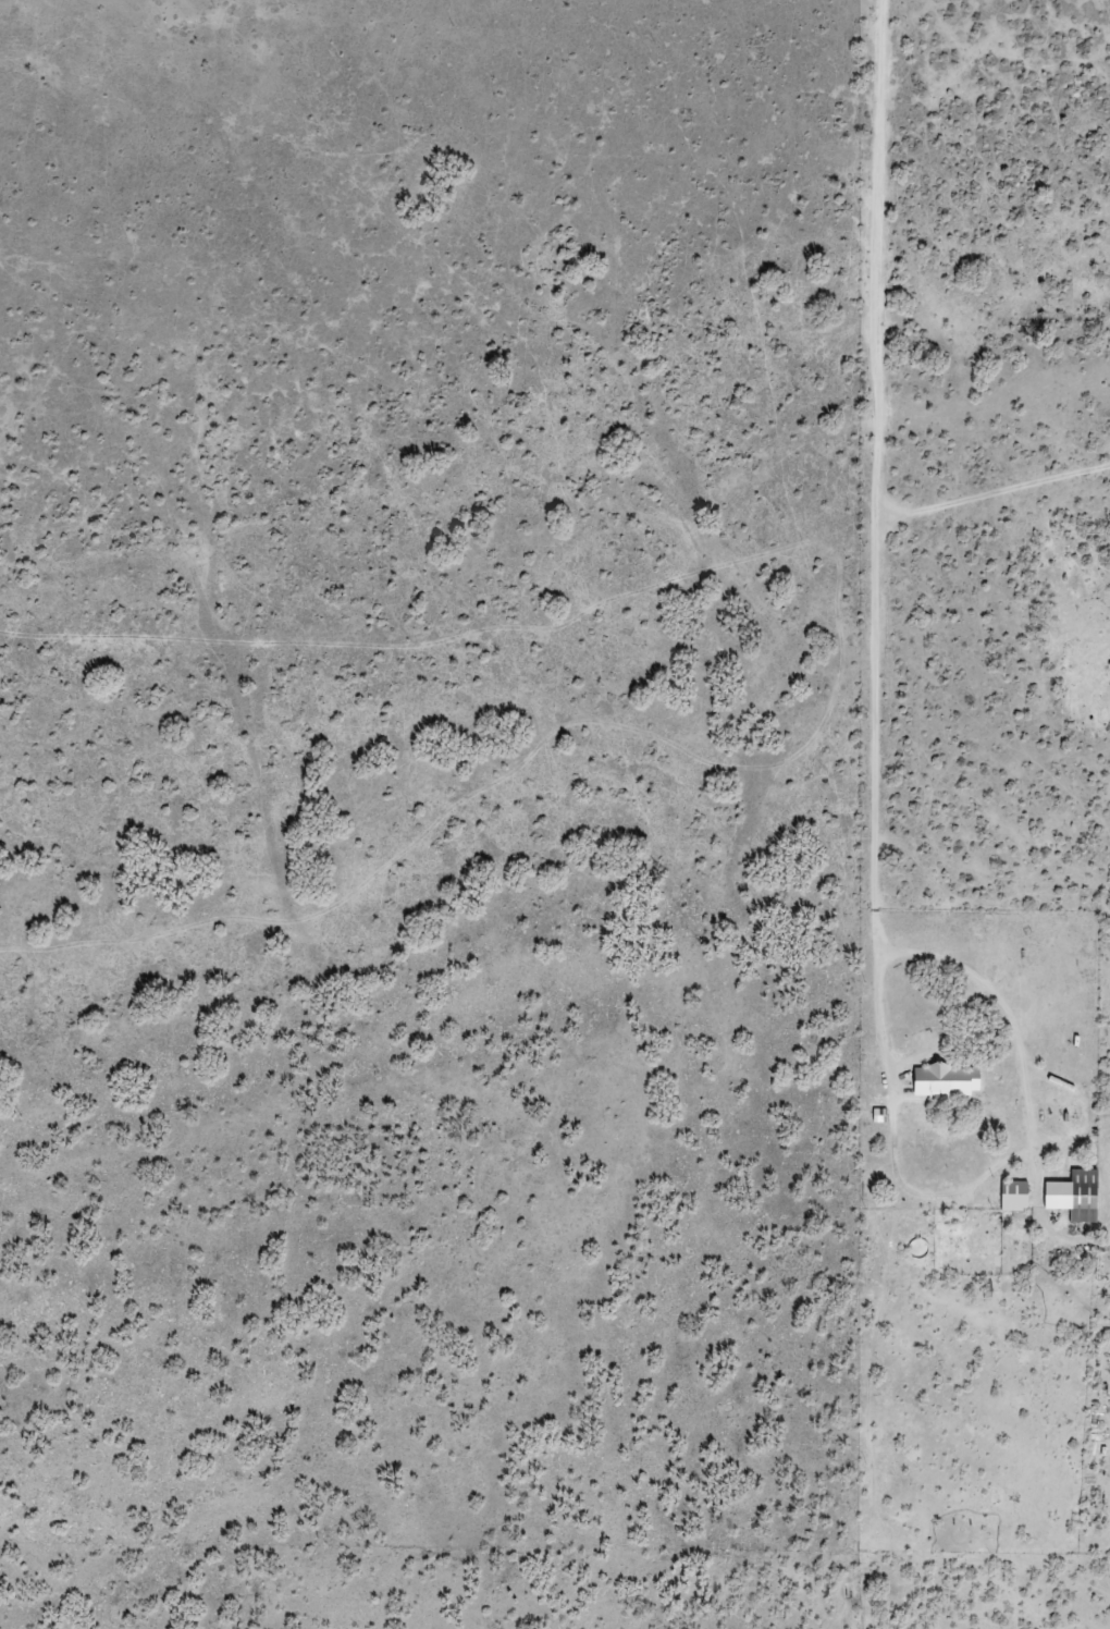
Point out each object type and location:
road: (568, 624)
road: (851, 695)
building: (948, 1079)
building: (1013, 1195)
building: (1073, 1195)

